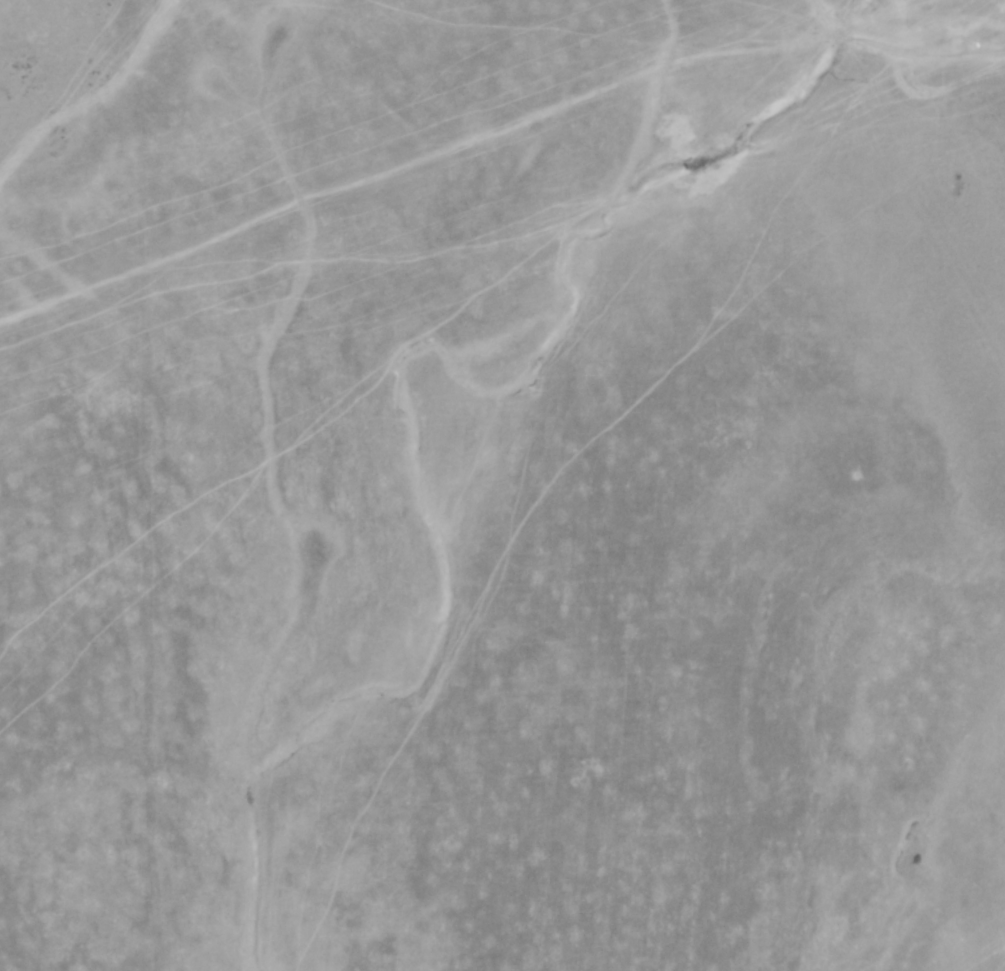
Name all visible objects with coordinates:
road: (897, 61)

